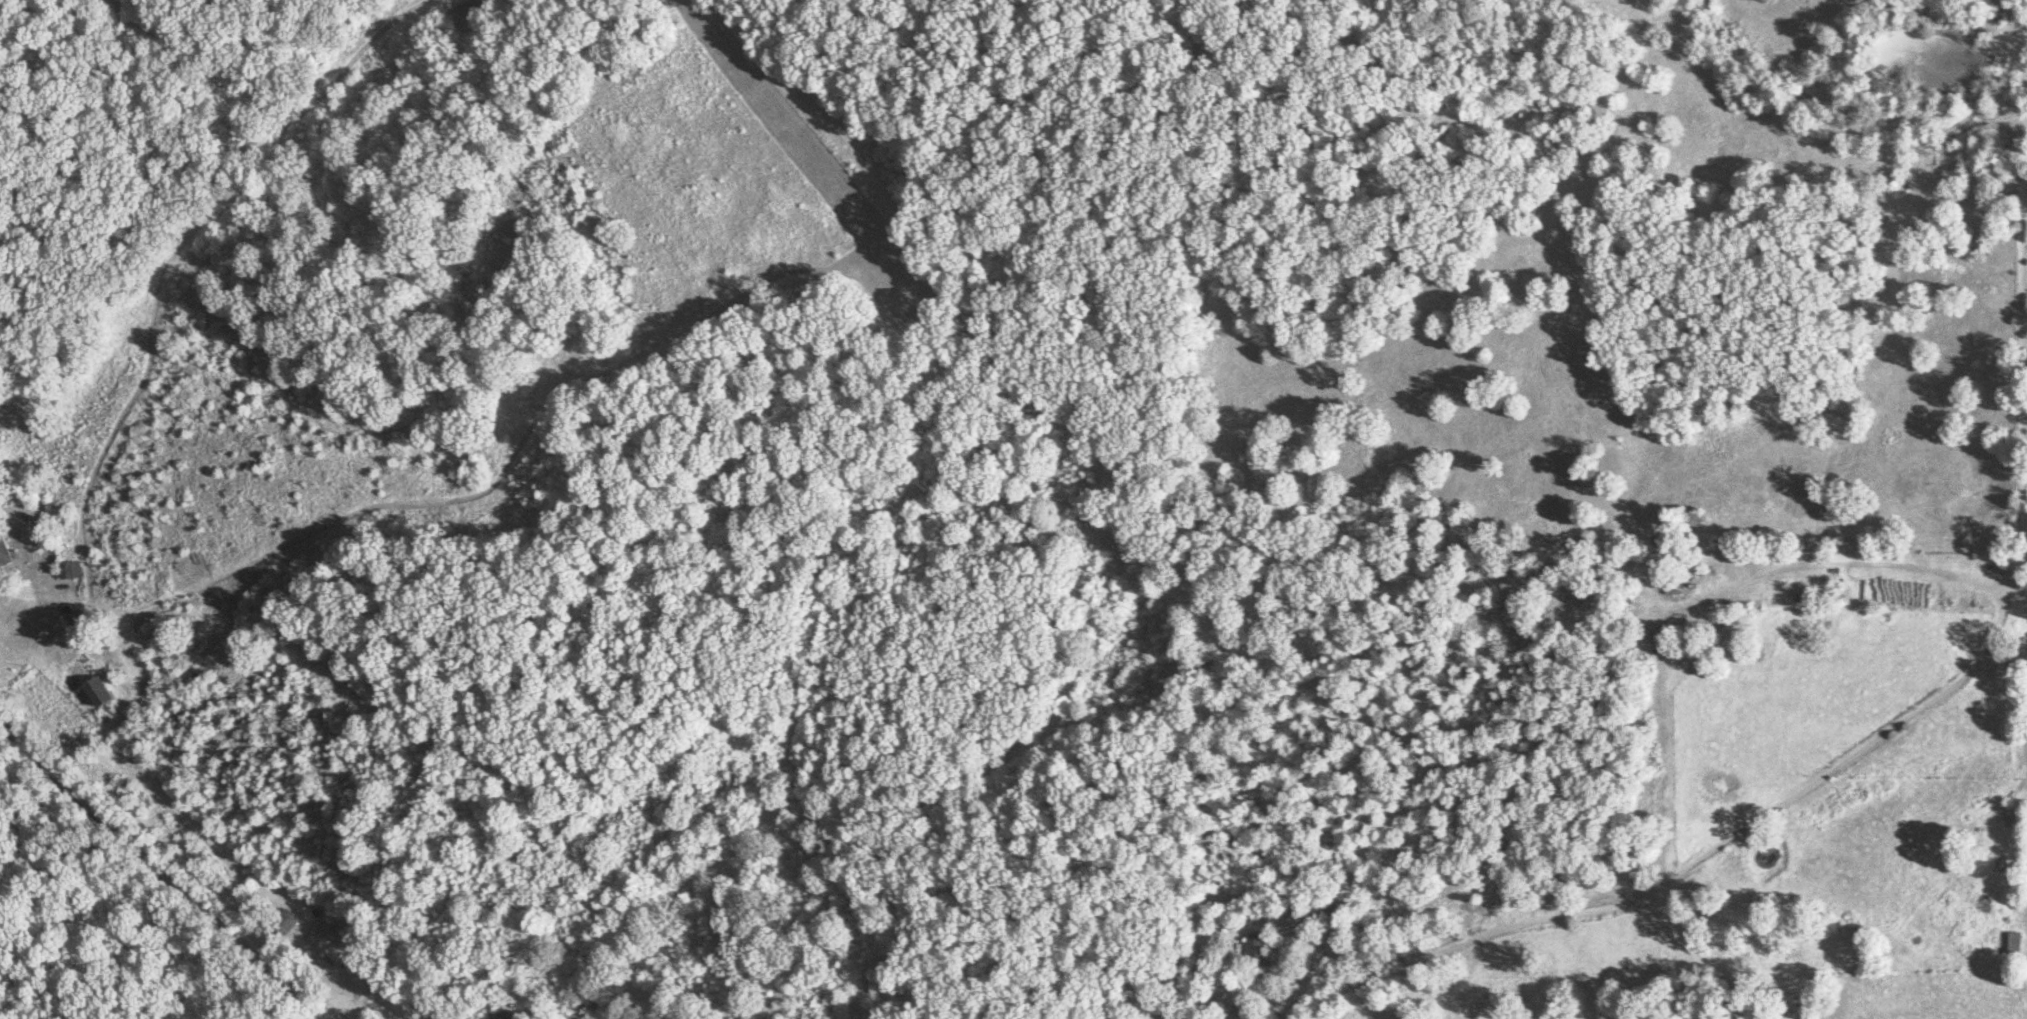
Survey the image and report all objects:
building: (2005, 13)
building: (1995, 102)
building: (6, 552)
building: (72, 570)
road: (32, 593)
road: (1862, 751)
road: (154, 876)
building: (284, 924)
building: (327, 943)
building: (2015, 943)
building: (1259, 949)
building: (587, 1000)
building: (507, 1016)

